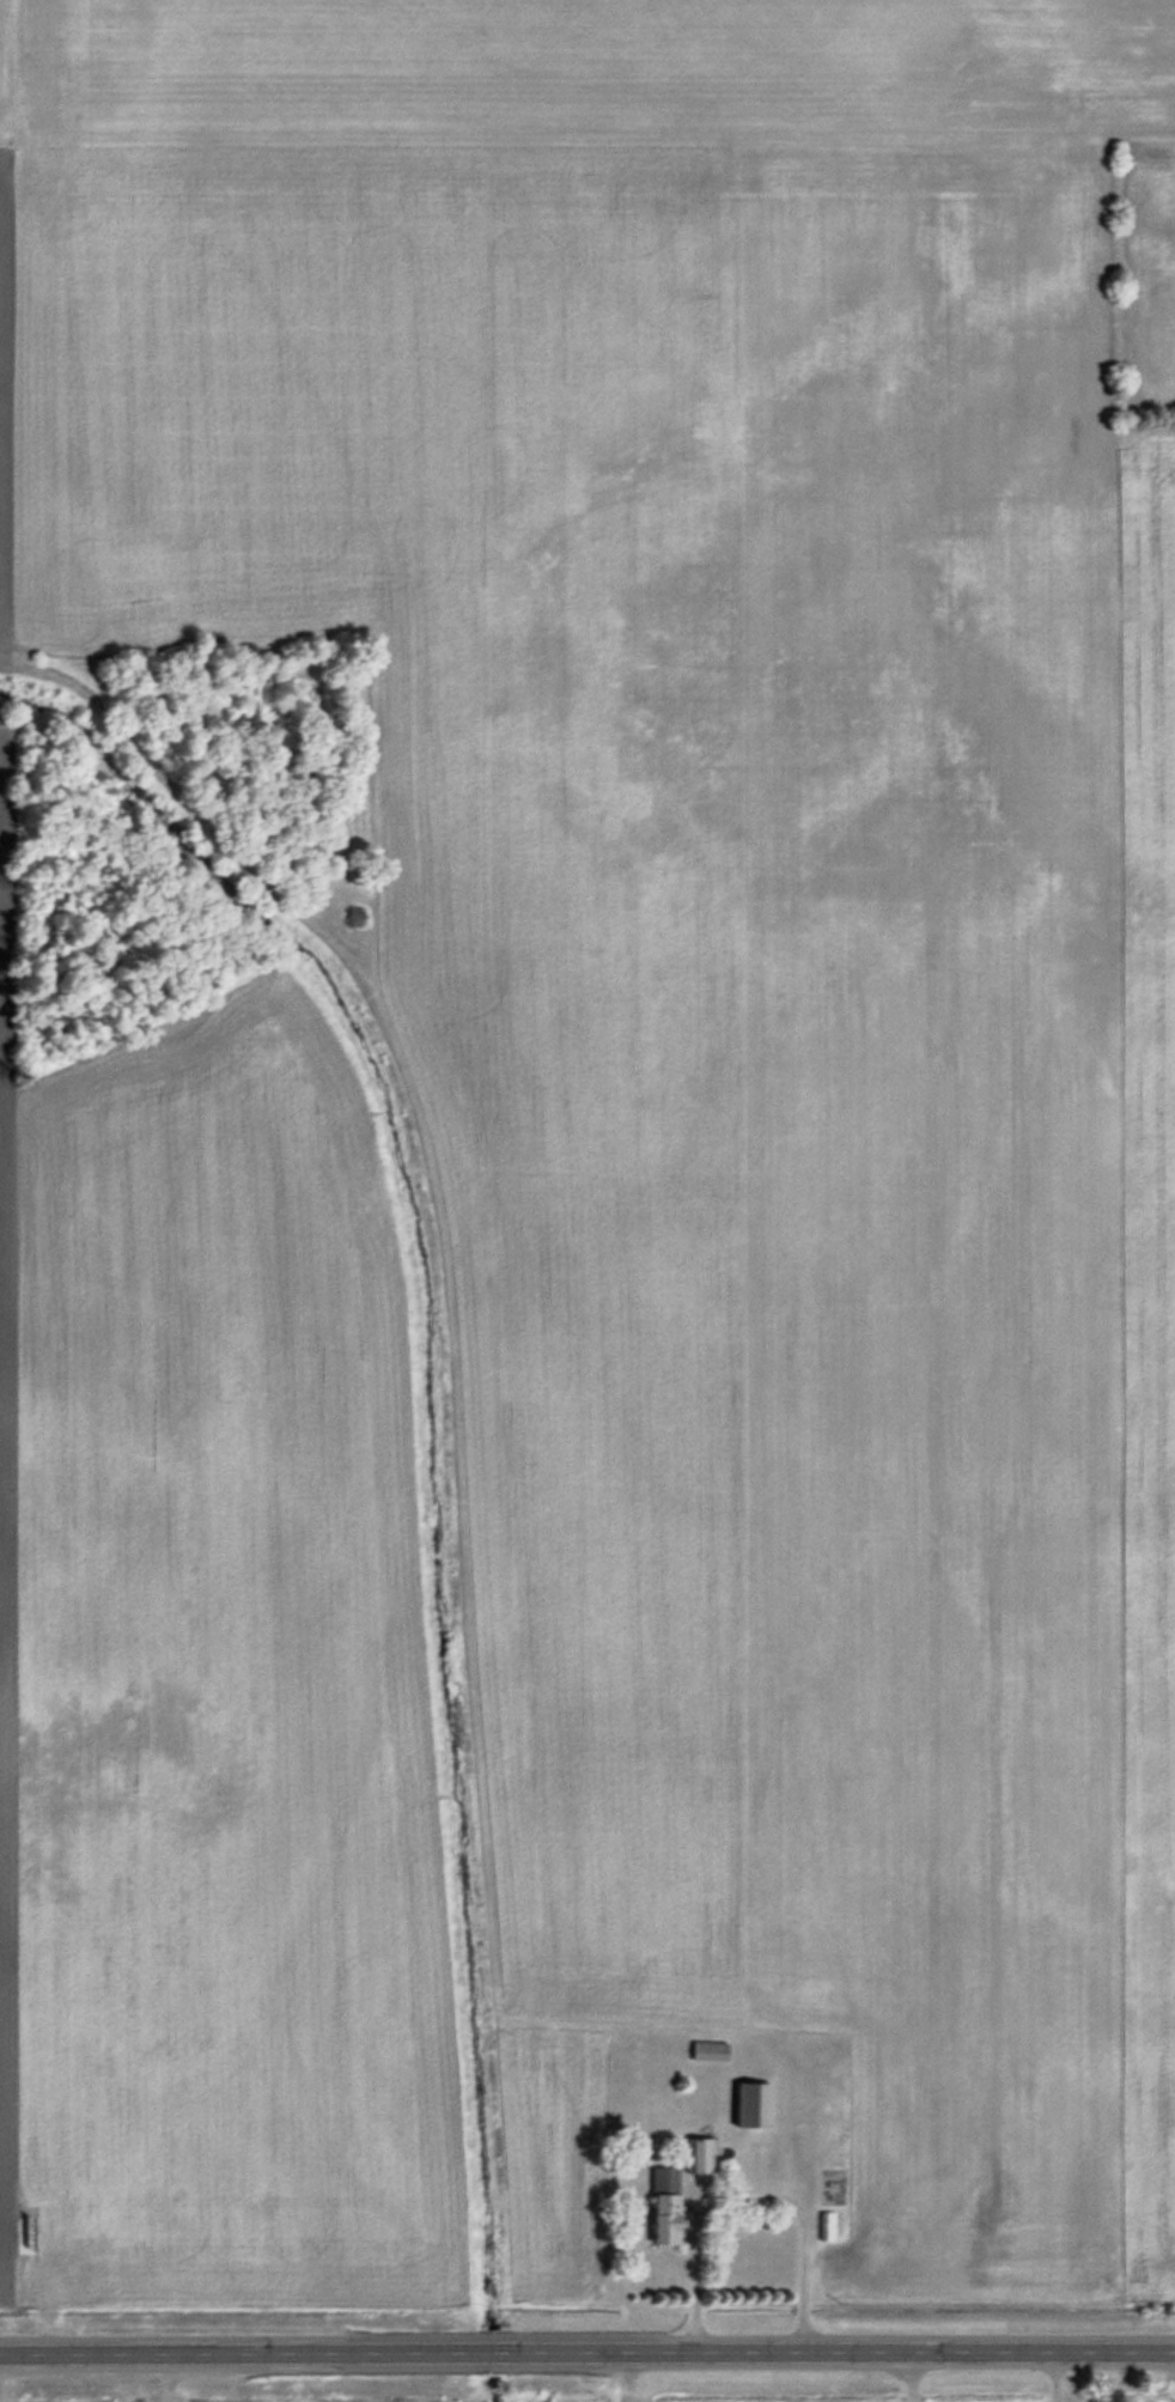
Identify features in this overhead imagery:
building: (707, 2050)
building: (749, 2104)
building: (698, 2154)
road: (742, 2196)
building: (663, 2206)
building: (826, 2226)
road: (587, 2353)
road: (1048, 2377)
road: (901, 2378)

